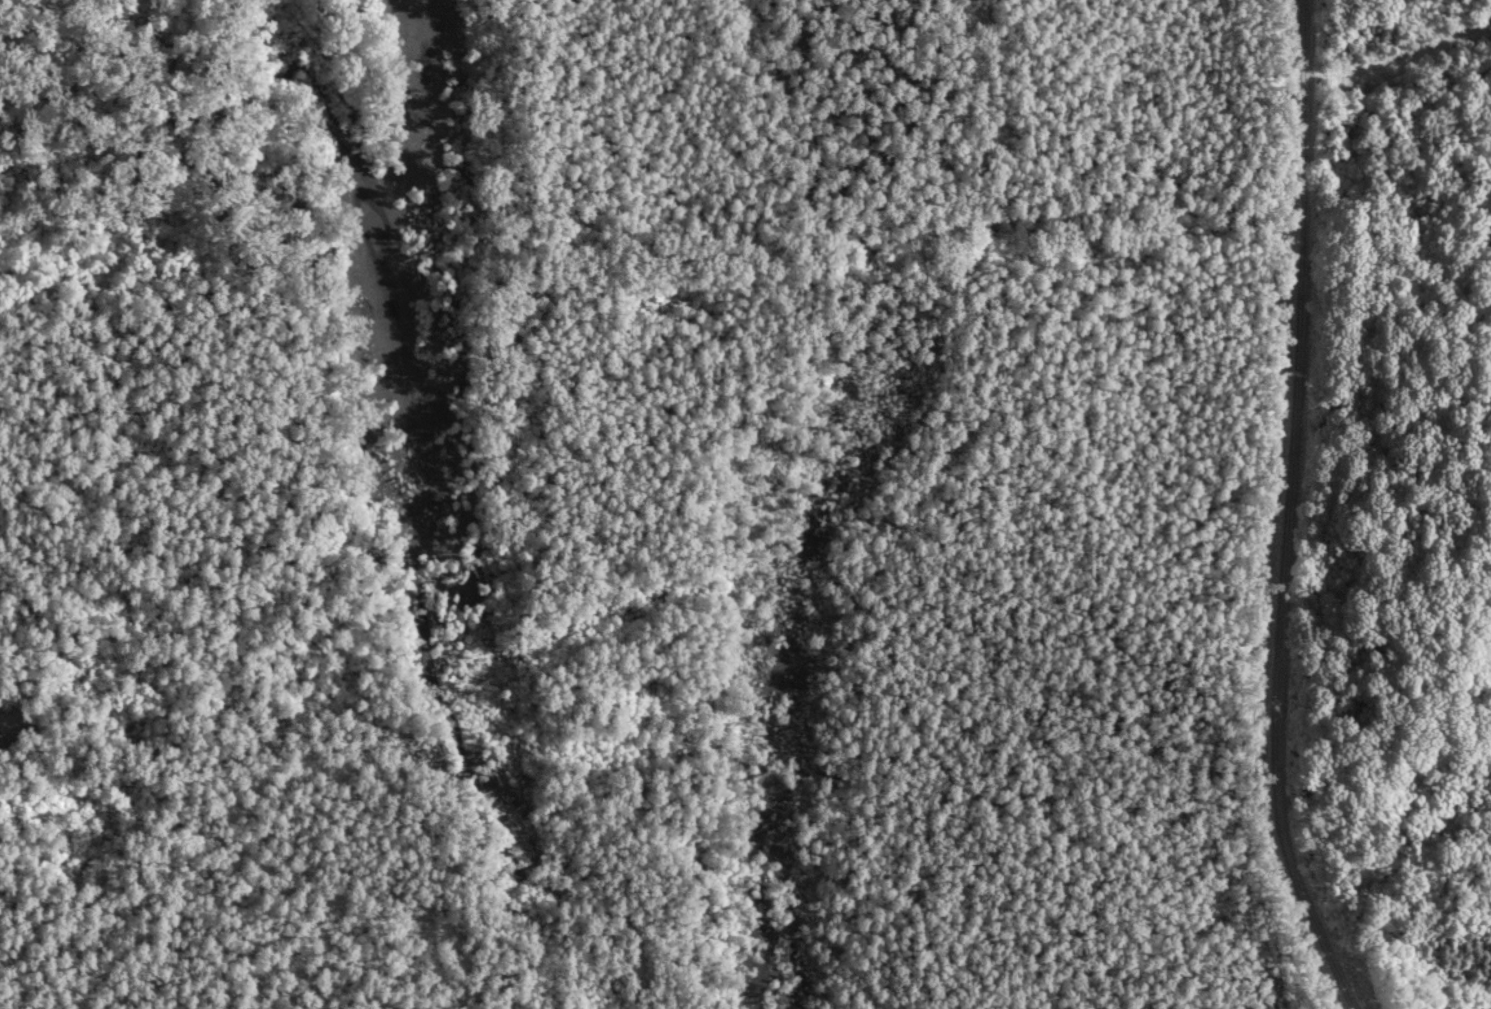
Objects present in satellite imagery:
road: (1294, 512)

